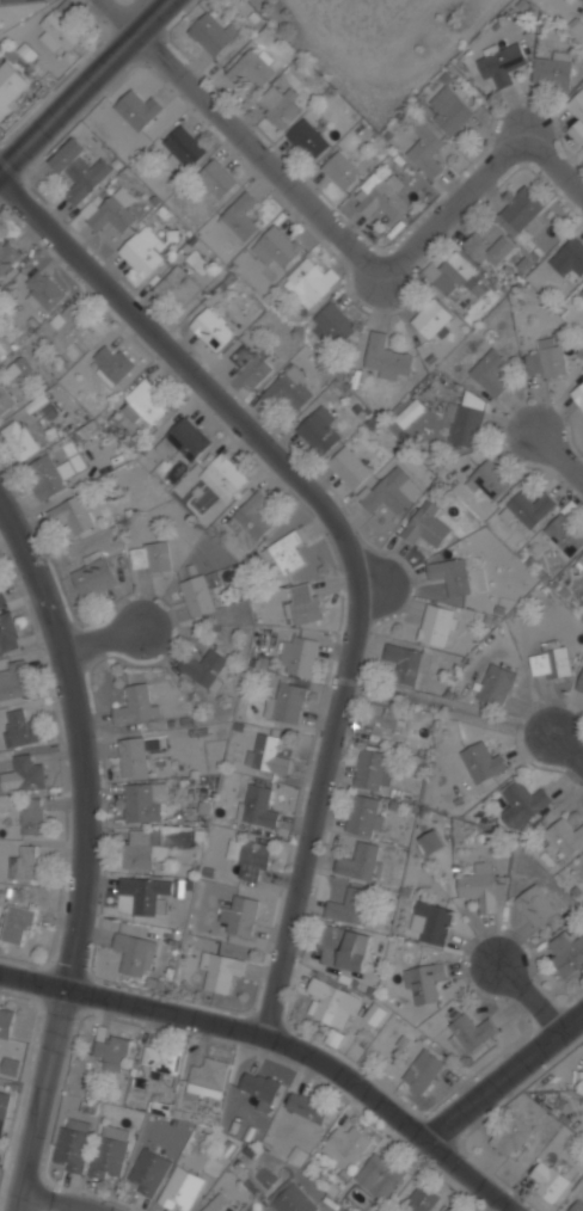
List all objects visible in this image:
building: (11, 0)
road: (122, 13)
building: (60, 29)
building: (213, 33)
building: (501, 62)
building: (252, 67)
building: (552, 68)
road: (81, 79)
building: (10, 85)
building: (278, 105)
building: (137, 109)
building: (449, 110)
building: (577, 113)
building: (307, 139)
building: (183, 146)
building: (425, 149)
building: (80, 167)
building: (342, 170)
building: (216, 178)
building: (381, 198)
building: (521, 209)
building: (111, 211)
building: (239, 216)
building: (276, 245)
building: (490, 245)
road: (364, 246)
building: (141, 250)
building: (7, 253)
building: (569, 257)
building: (450, 275)
building: (307, 278)
building: (180, 284)
building: (43, 289)
building: (582, 291)
building: (431, 319)
building: (332, 322)
building: (68, 324)
building: (211, 327)
building: (2, 352)
building: (386, 357)
building: (547, 358)
building: (111, 363)
building: (250, 364)
building: (491, 370)
building: (288, 389)
building: (578, 394)
building: (145, 404)
building: (410, 412)
building: (466, 418)
building: (319, 430)
road: (560, 431)
building: (19, 438)
building: (182, 441)
building: (349, 467)
building: (223, 475)
building: (48, 477)
building: (487, 480)
building: (391, 491)
building: (528, 508)
building: (73, 514)
building: (252, 516)
building: (425, 525)
building: (565, 534)
road: (350, 536)
building: (286, 553)
building: (151, 557)
building: (579, 564)
building: (450, 574)
building: (93, 576)
building: (197, 595)
building: (1, 601)
building: (303, 603)
building: (436, 625)
building: (7, 633)
road: (105, 635)
building: (296, 654)
building: (551, 660)
building: (406, 663)
building: (205, 668)
building: (13, 682)
building: (579, 682)
building: (496, 684)
building: (286, 702)
building: (136, 705)
road: (449, 708)
building: (382, 723)
building: (20, 727)
road: (567, 751)
building: (134, 754)
building: (266, 754)
building: (481, 761)
building: (370, 769)
building: (23, 774)
road: (81, 777)
building: (143, 800)
building: (521, 803)
building: (257, 805)
building: (364, 814)
building: (32, 816)
building: (566, 834)
building: (431, 842)
building: (142, 847)
building: (582, 855)
building: (247, 856)
building: (360, 860)
building: (581, 860)
building: (25, 862)
building: (480, 885)
building: (143, 892)
building: (349, 906)
building: (536, 906)
building: (240, 915)
building: (430, 922)
building: (18, 923)
building: (343, 947)
building: (133, 952)
building: (566, 953)
building: (220, 970)
building: (423, 981)
road: (528, 983)
building: (332, 1003)
building: (6, 1022)
building: (470, 1032)
road: (278, 1039)
building: (111, 1049)
building: (161, 1061)
building: (423, 1069)
road: (504, 1072)
building: (208, 1076)
building: (259, 1089)
building: (566, 1098)
building: (5, 1105)
building: (306, 1106)
building: (511, 1136)
road: (32, 1143)
building: (73, 1144)
building: (345, 1145)
building: (109, 1151)
building: (148, 1170)
building: (380, 1175)
building: (547, 1180)
building: (180, 1188)
building: (291, 1199)
road: (65, 1200)
building: (422, 1200)
building: (219, 1204)
building: (577, 1205)
building: (450, 1209)
building: (247, 1210)

